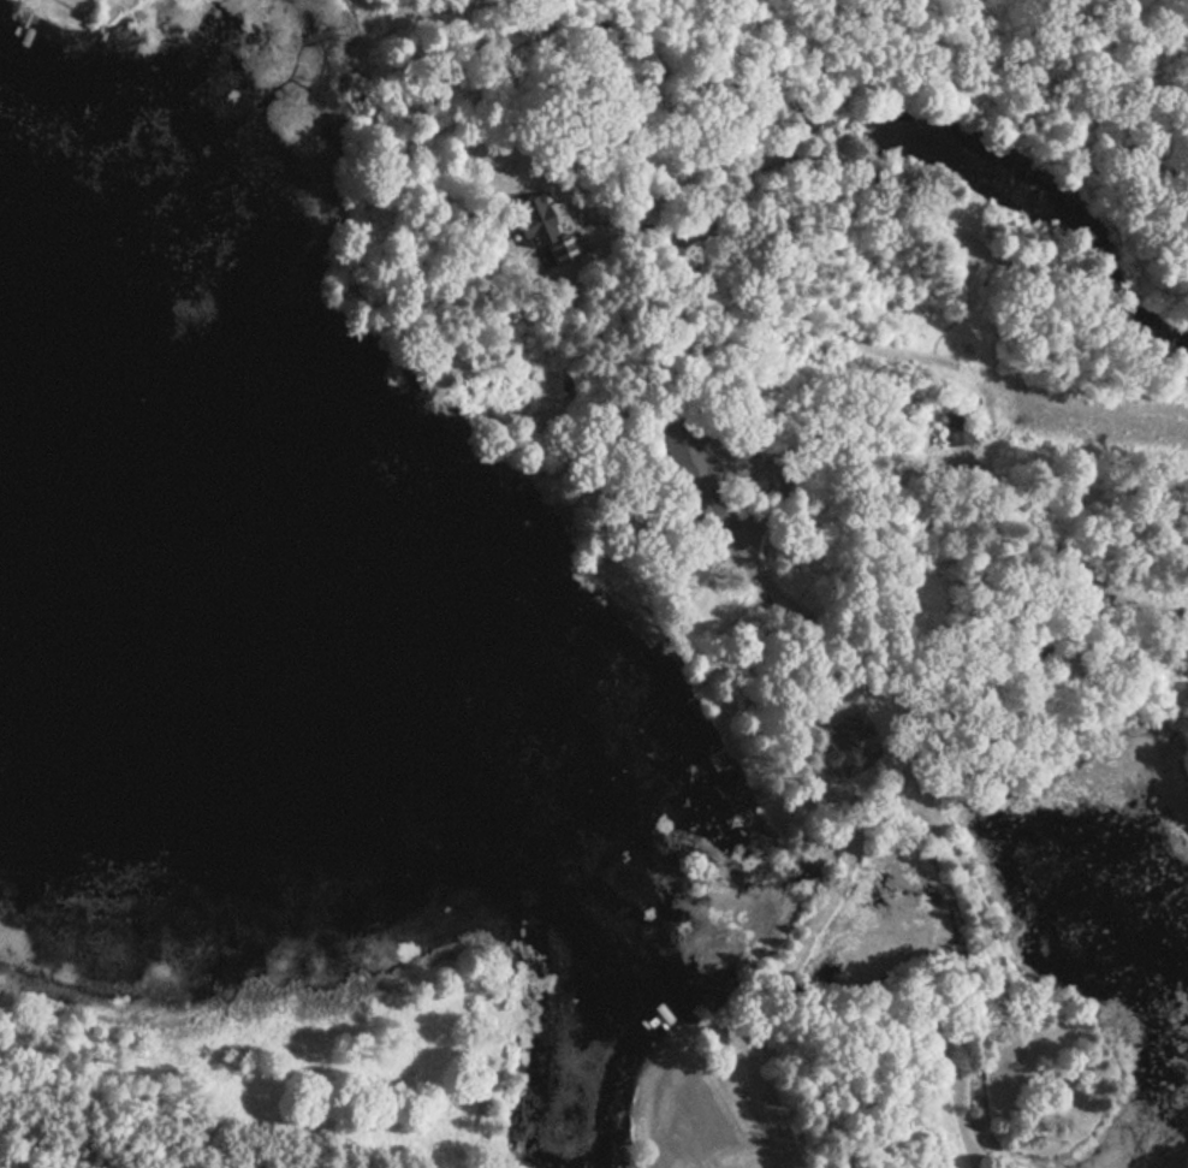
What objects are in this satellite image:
road: (1052, 545)
road: (923, 695)

